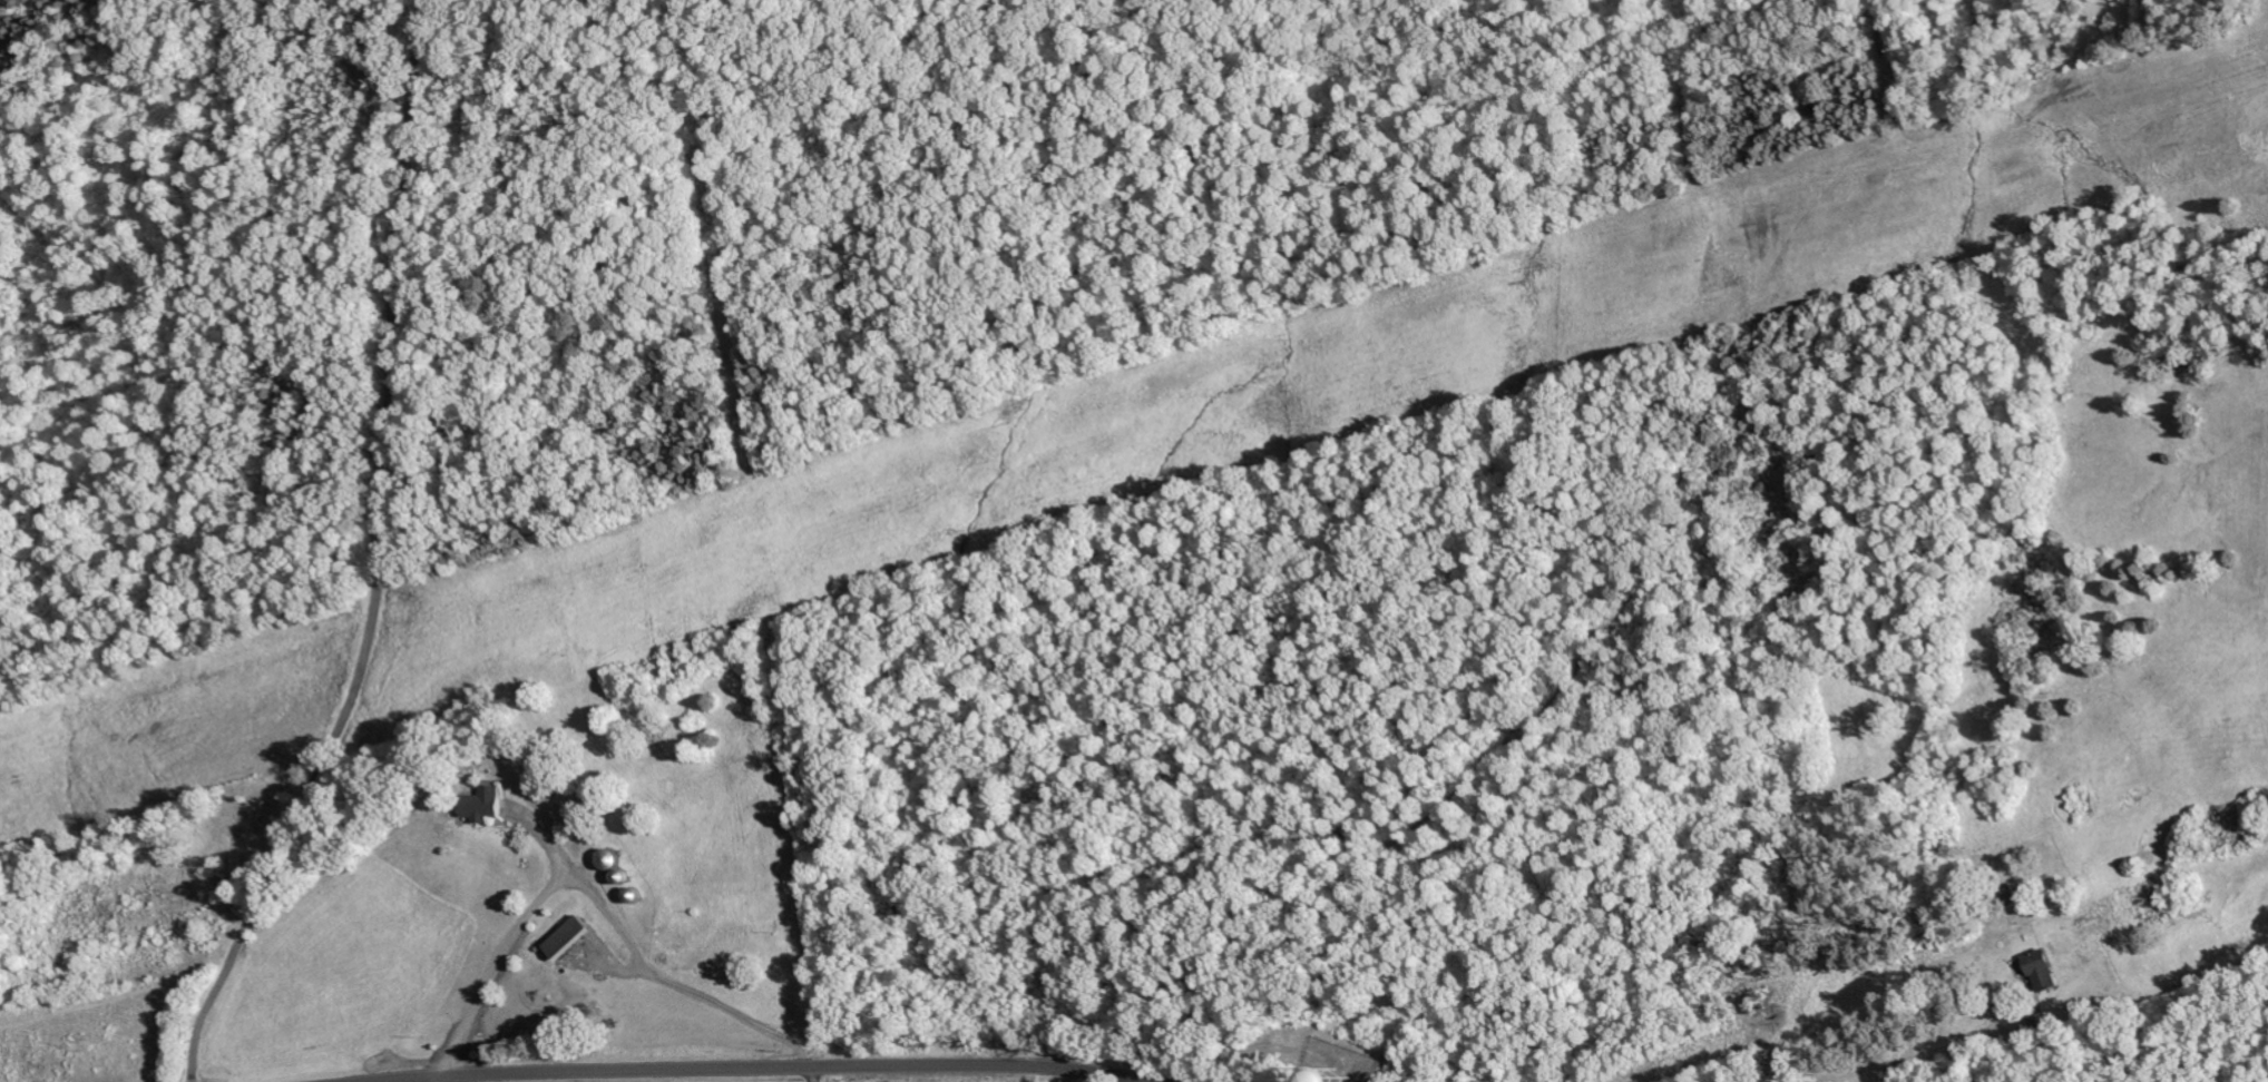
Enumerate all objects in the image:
road: (379, 558)
building: (478, 805)
road: (599, 906)
building: (561, 938)
building: (2039, 972)
road: (1891, 1060)
road: (753, 1066)
road: (441, 1079)

